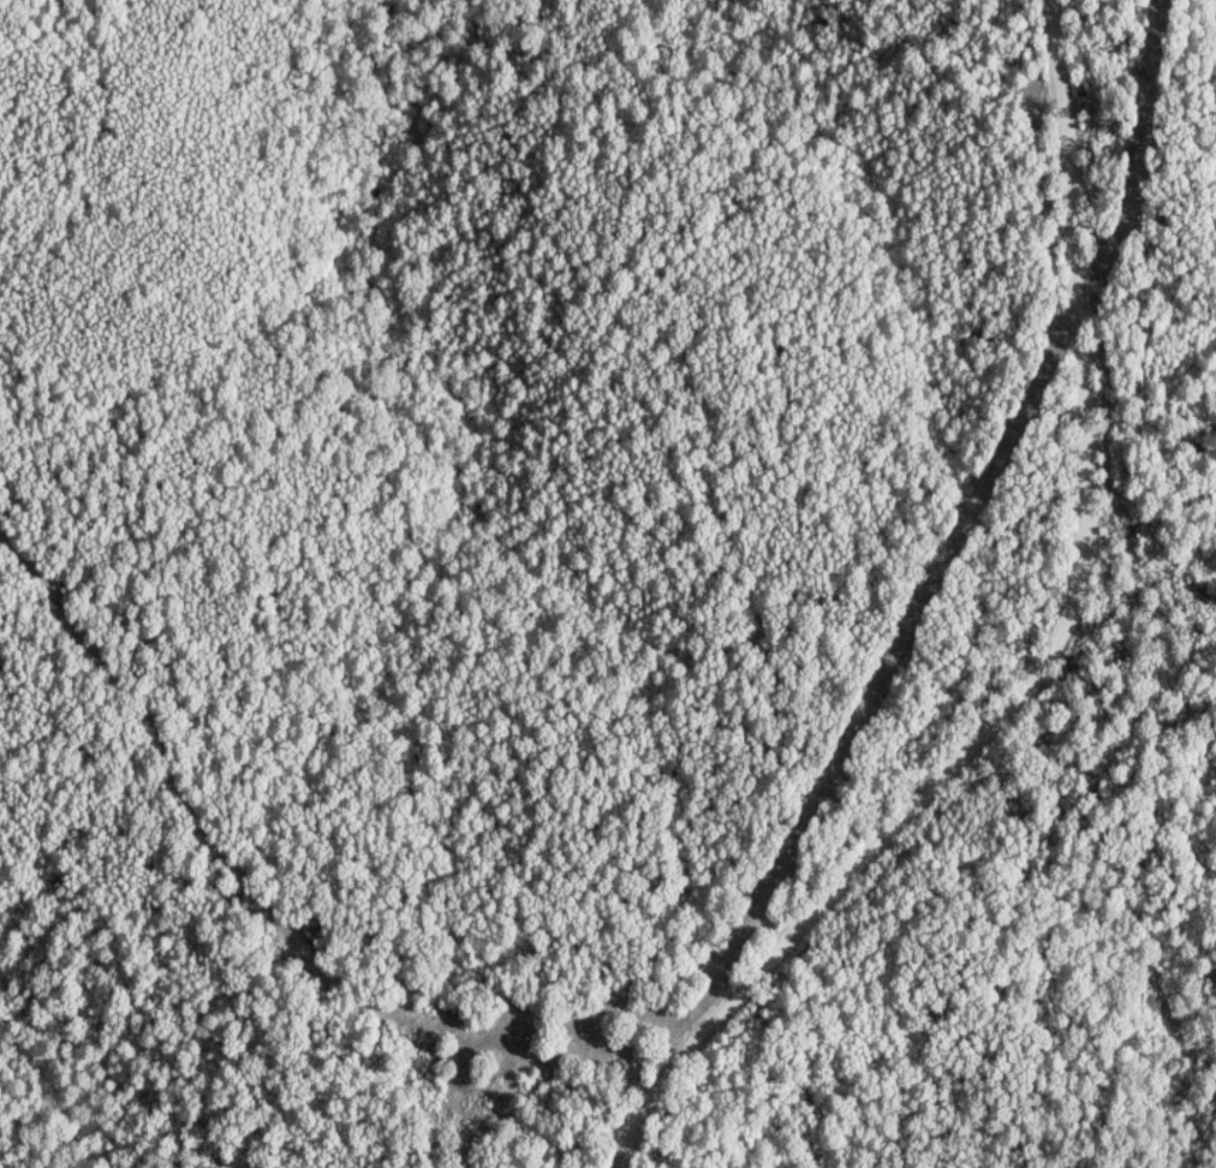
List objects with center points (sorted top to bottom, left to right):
road: (1049, 660)
road: (278, 904)

